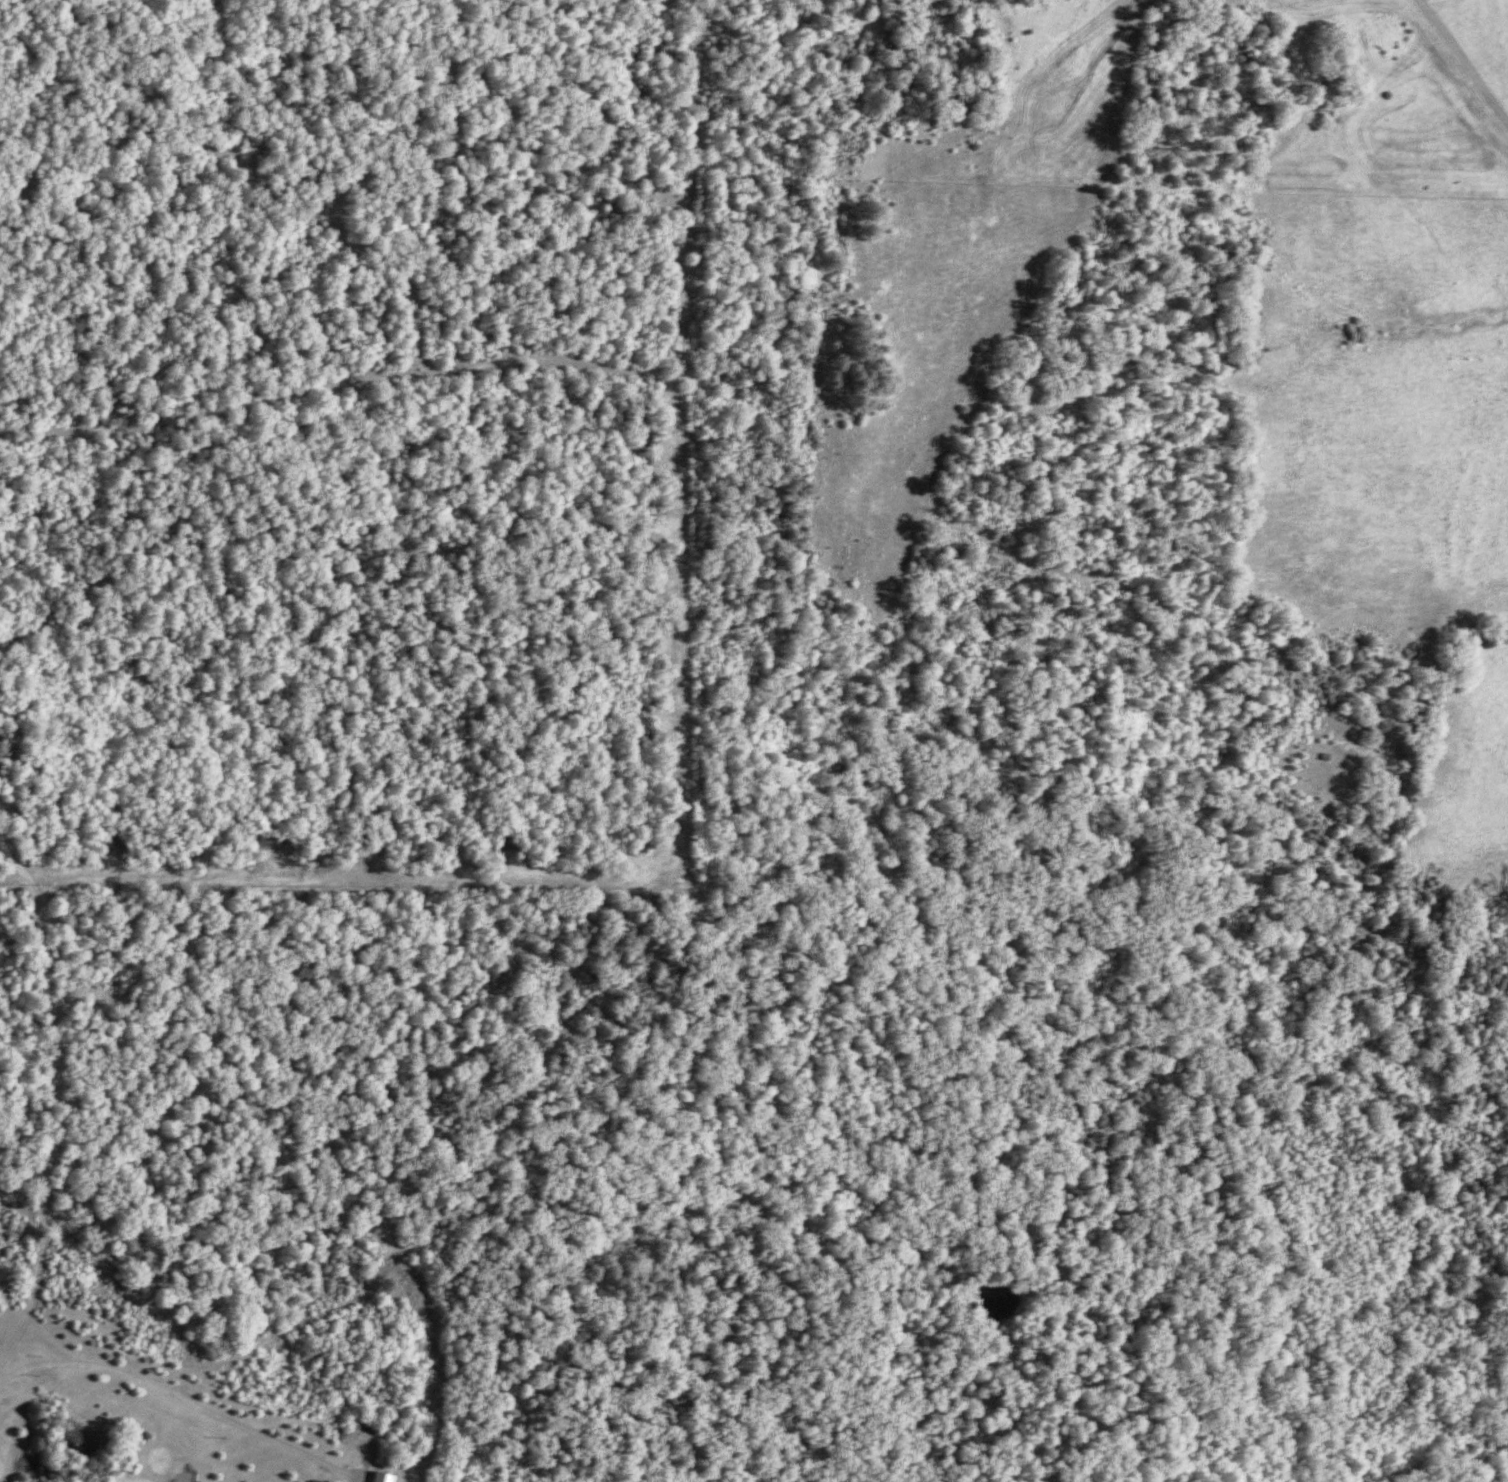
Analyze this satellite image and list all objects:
road: (332, 379)
road: (683, 810)
road: (60, 1098)
road: (38, 1340)
road: (185, 1401)
building: (385, 1477)

